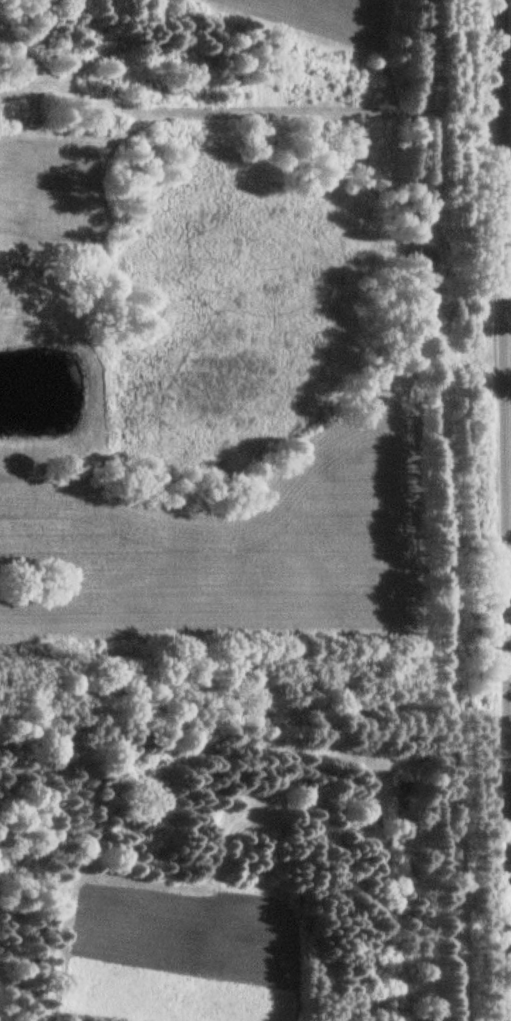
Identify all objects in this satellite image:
road: (504, 510)
building: (399, 795)
building: (374, 822)
road: (253, 878)

